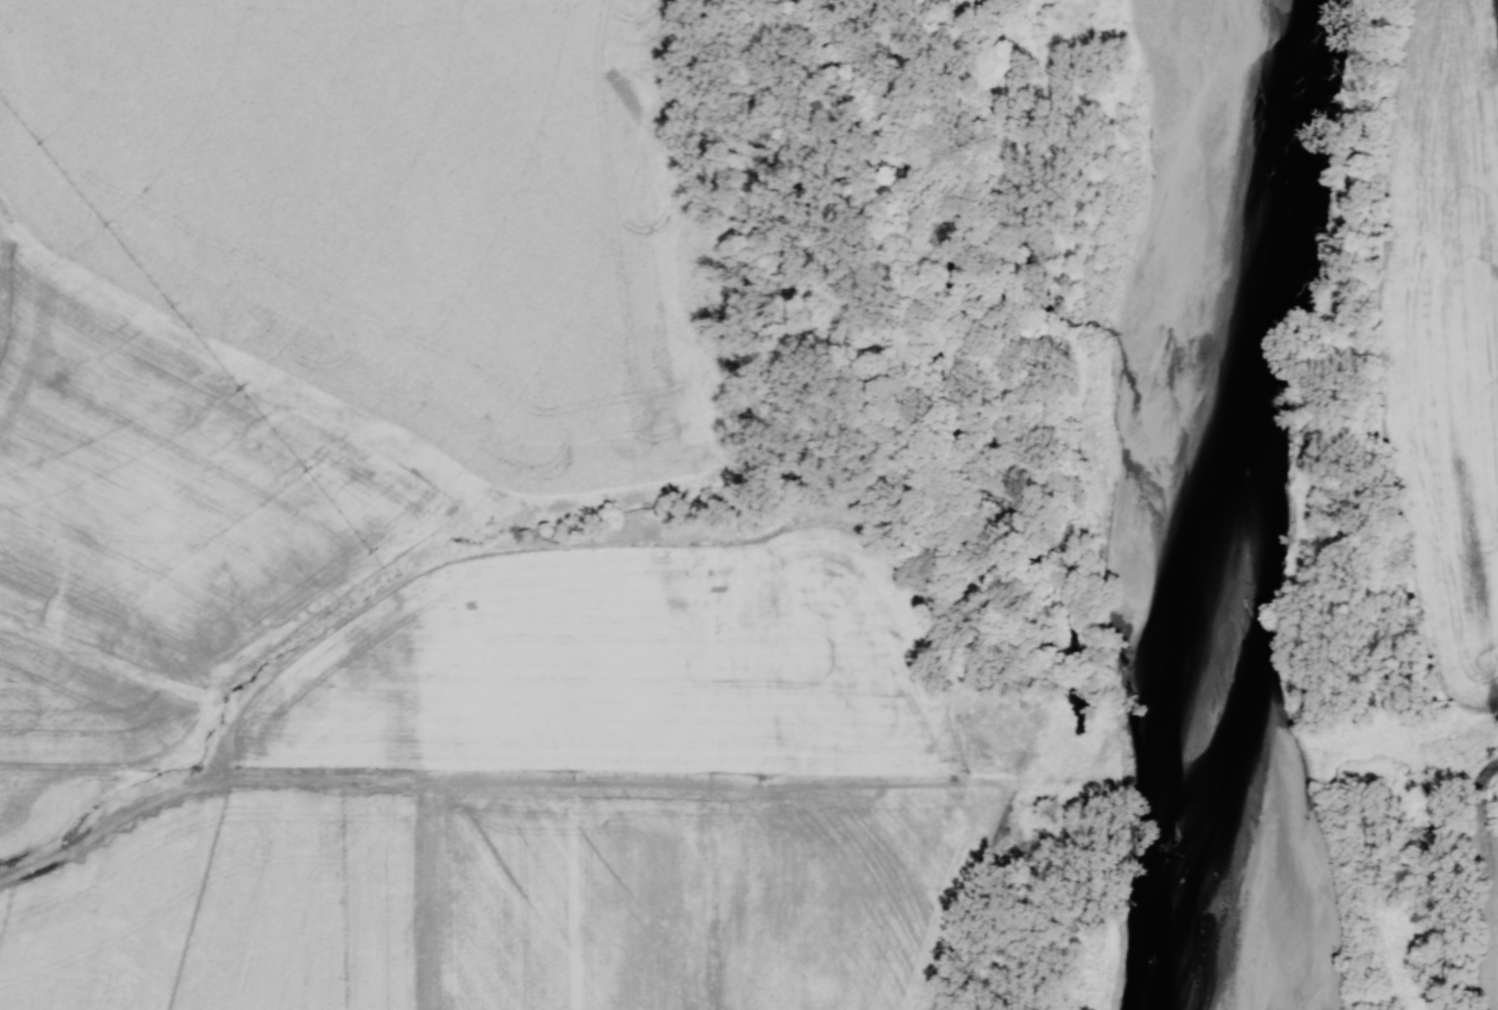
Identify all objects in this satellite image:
river: (1186, 508)

